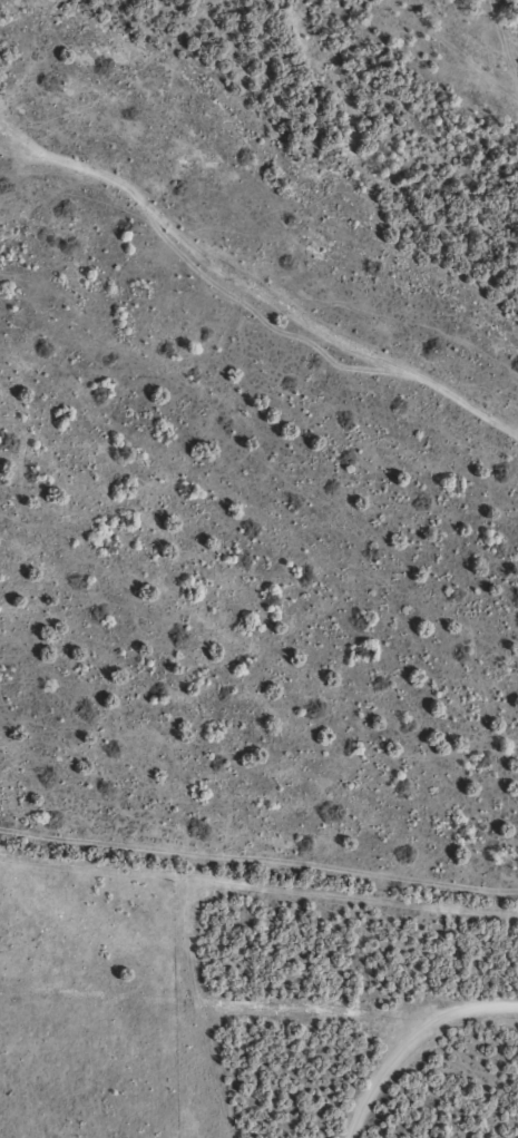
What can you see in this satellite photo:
road: (258, 1003)
road: (394, 1053)

